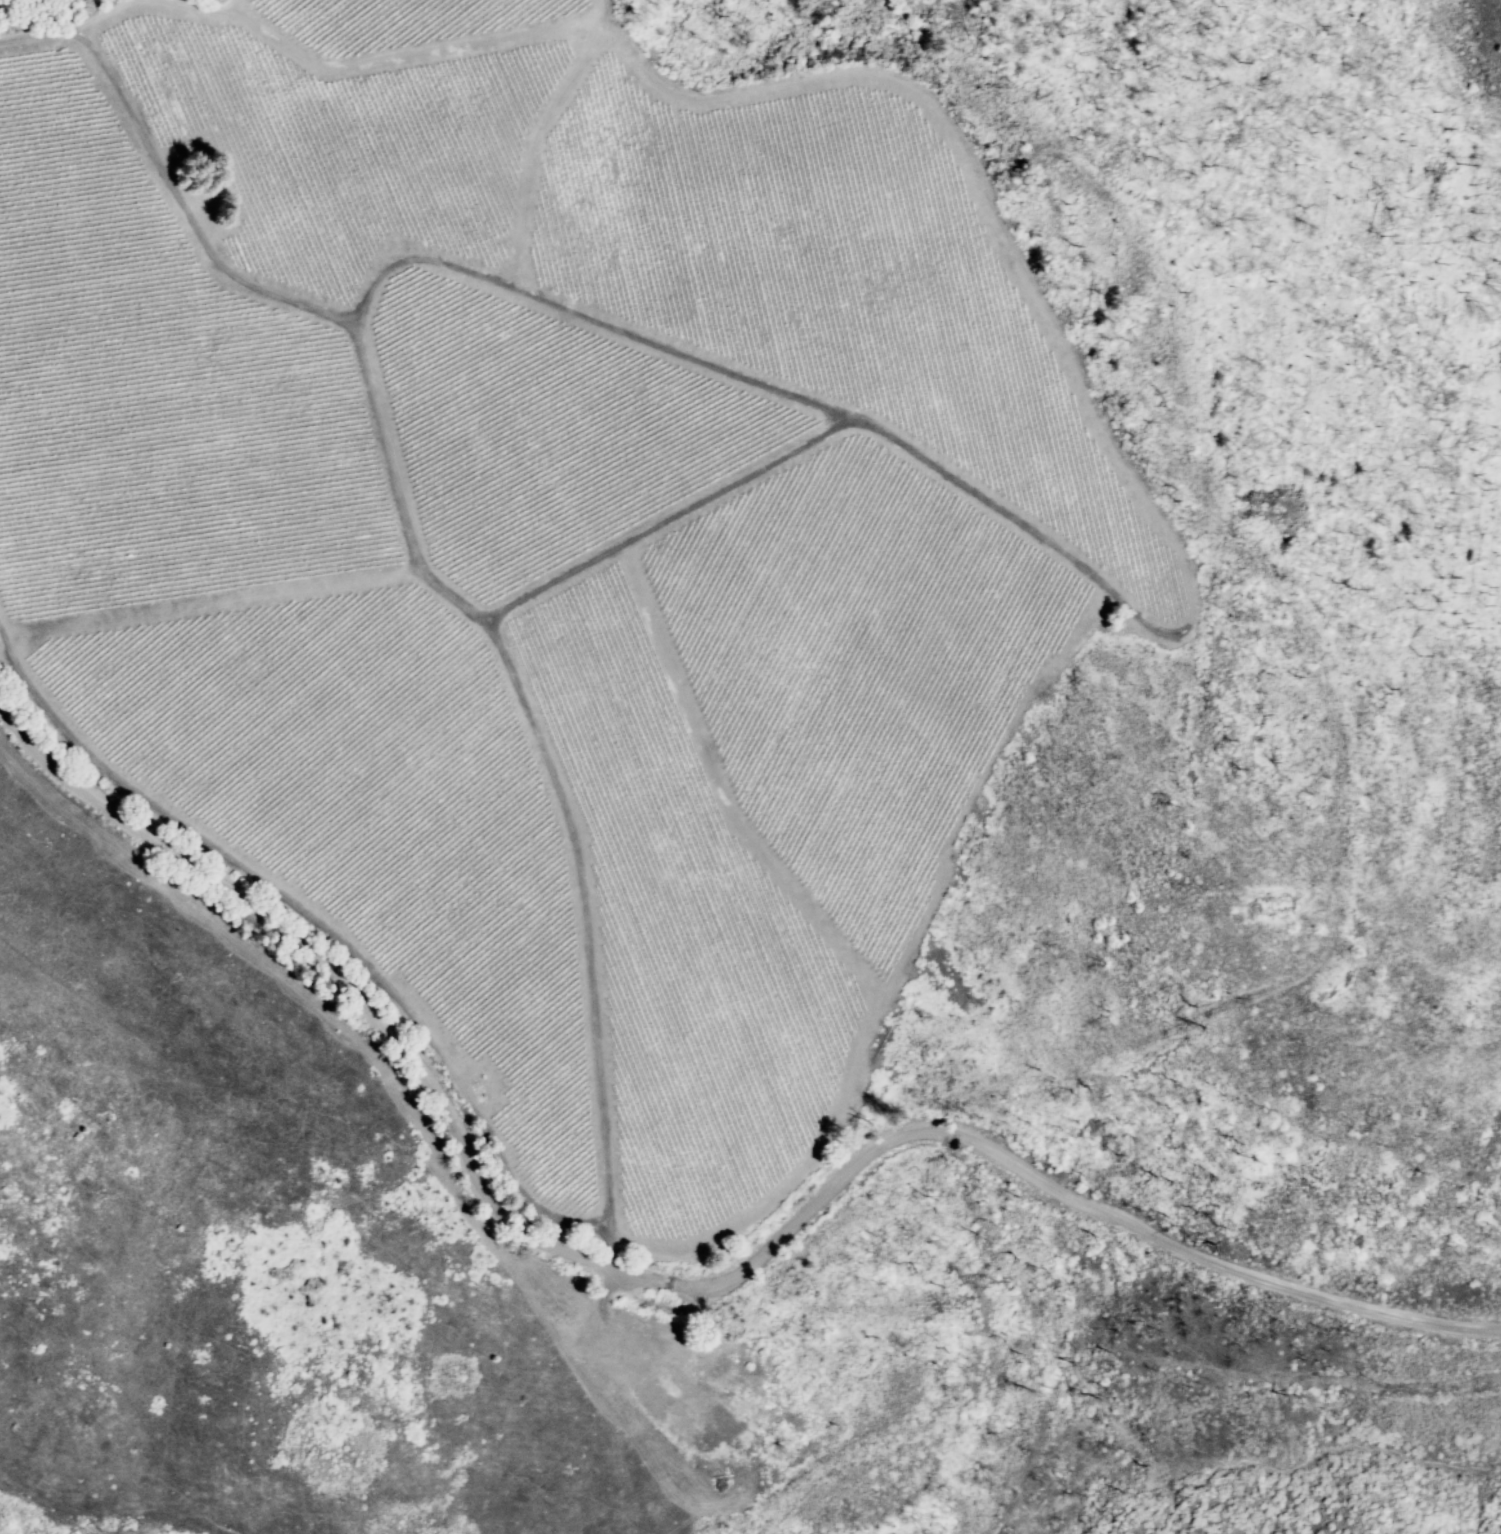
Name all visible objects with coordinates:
road: (969, 169)
road: (675, 1279)
road: (987, 1334)

